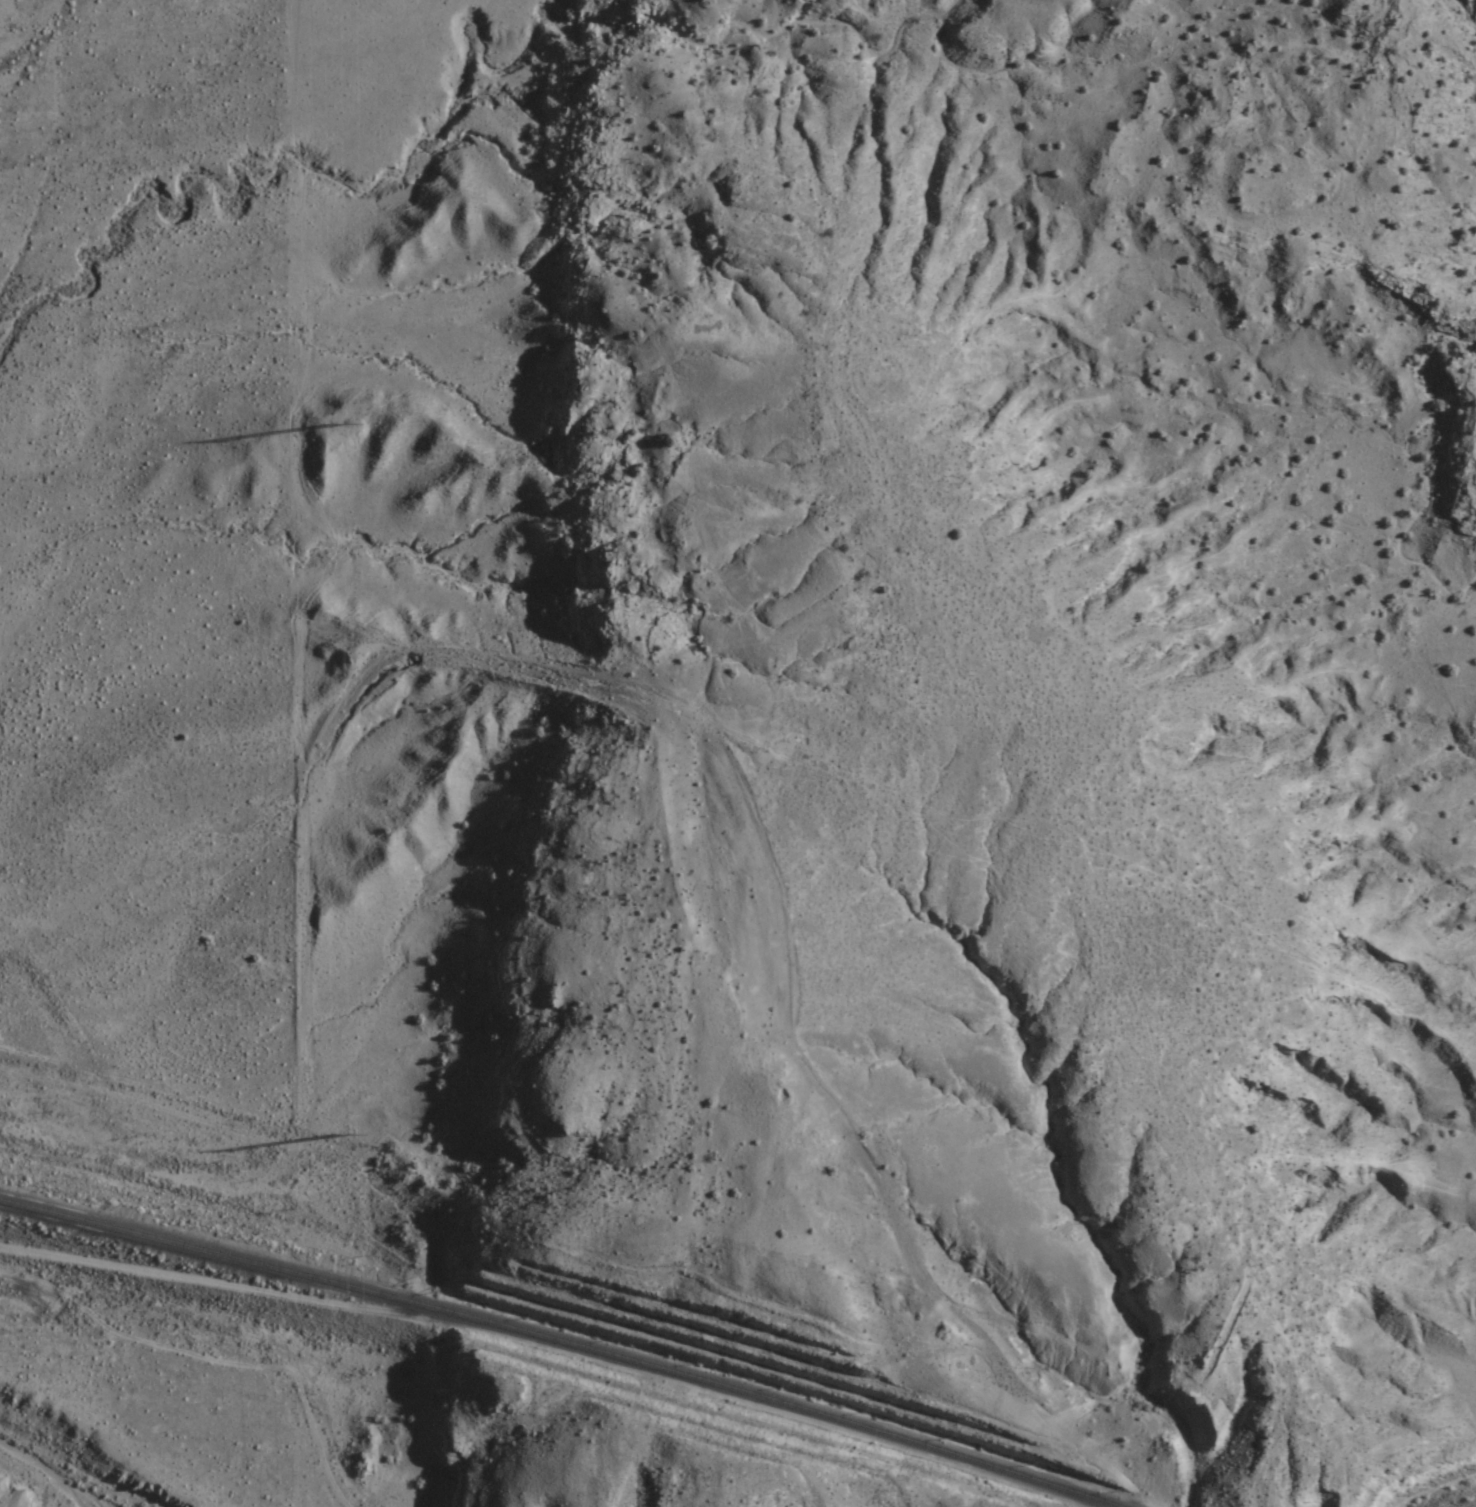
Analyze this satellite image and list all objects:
power tower: (361, 426)
power tower: (366, 1135)
railway: (560, 1343)

